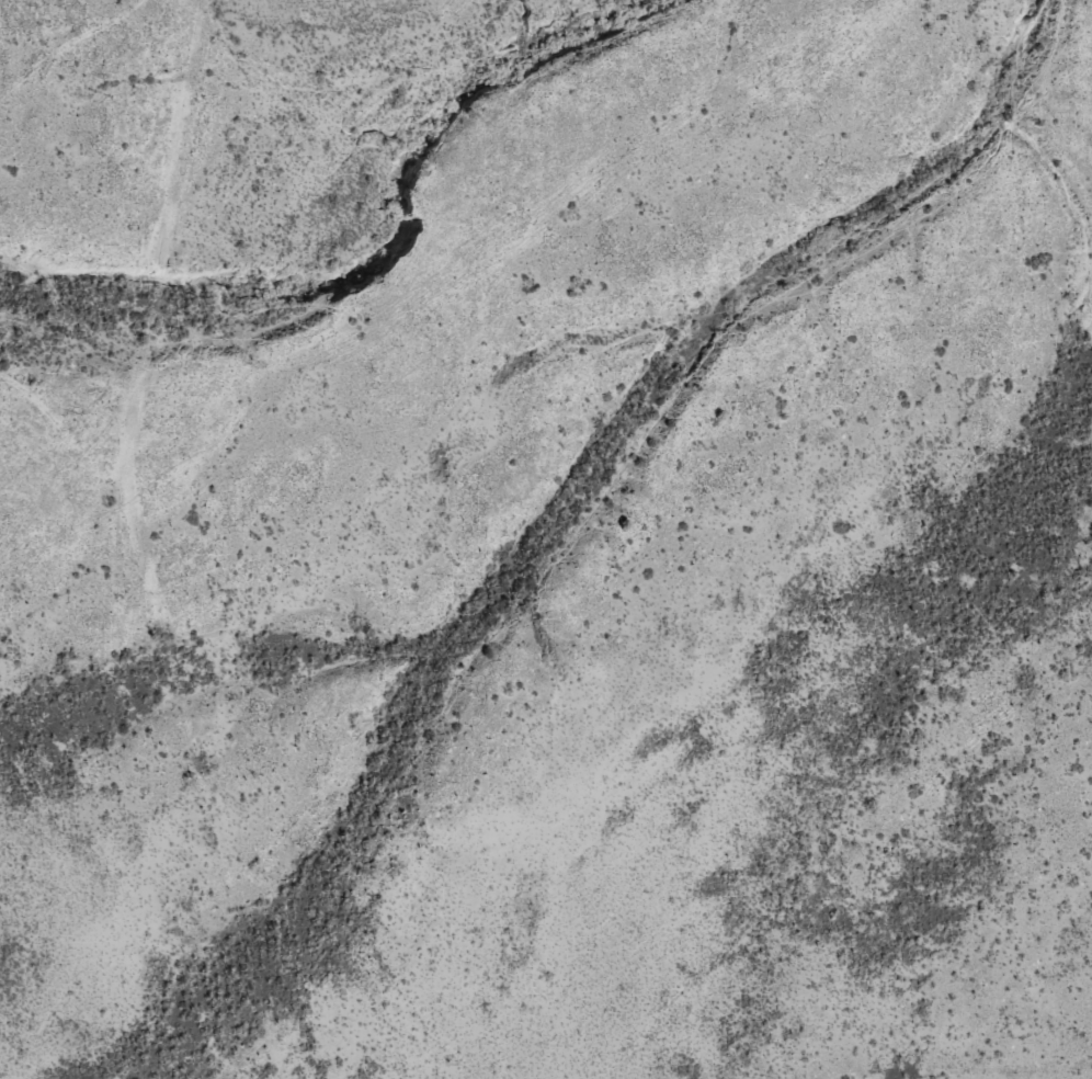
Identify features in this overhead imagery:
road: (65, 47)
road: (197, 738)

